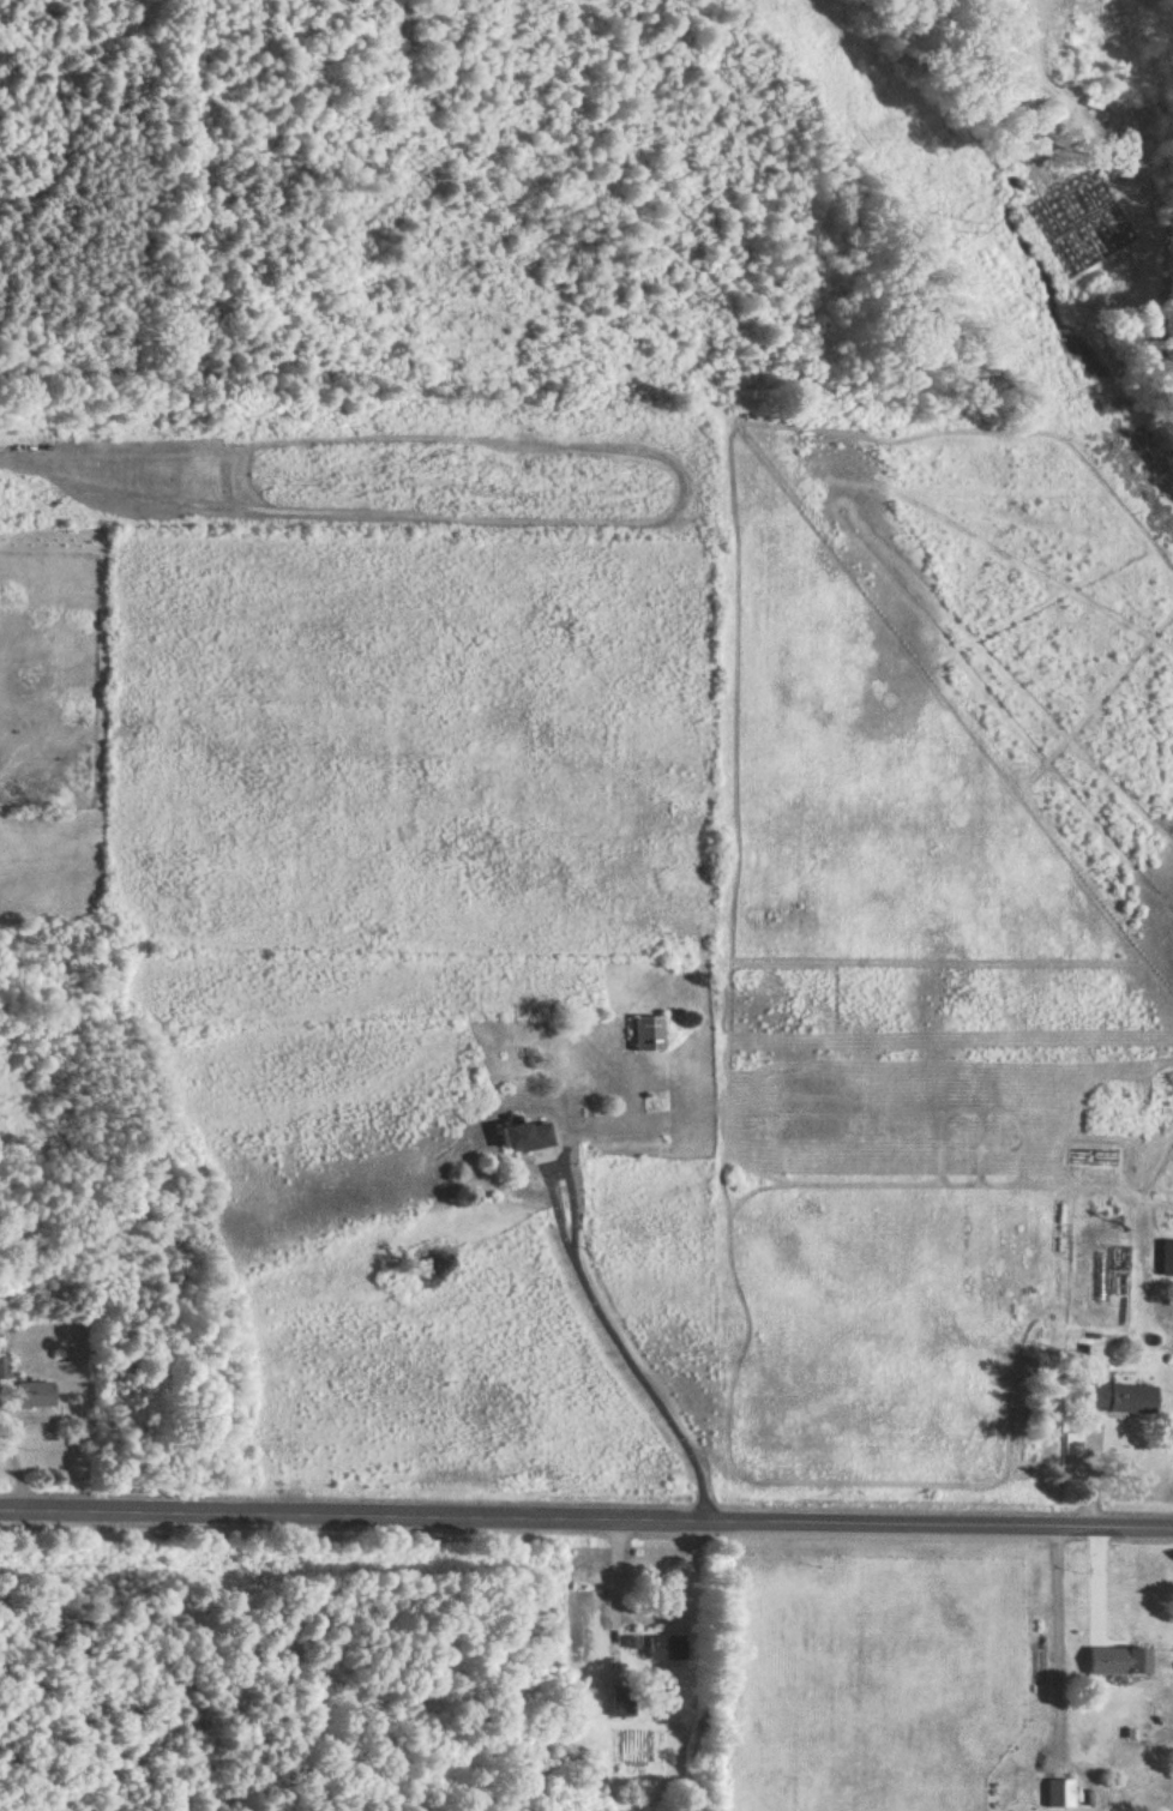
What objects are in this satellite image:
power tower: (974, 225)
building: (649, 1035)
building: (527, 1138)
building: (1166, 1261)
road: (601, 1366)
building: (4, 1371)
building: (36, 1397)
building: (1123, 1401)
road: (585, 1528)
road: (1058, 1643)
building: (667, 1649)
building: (1120, 1662)
building: (624, 1707)
building: (1063, 1797)

